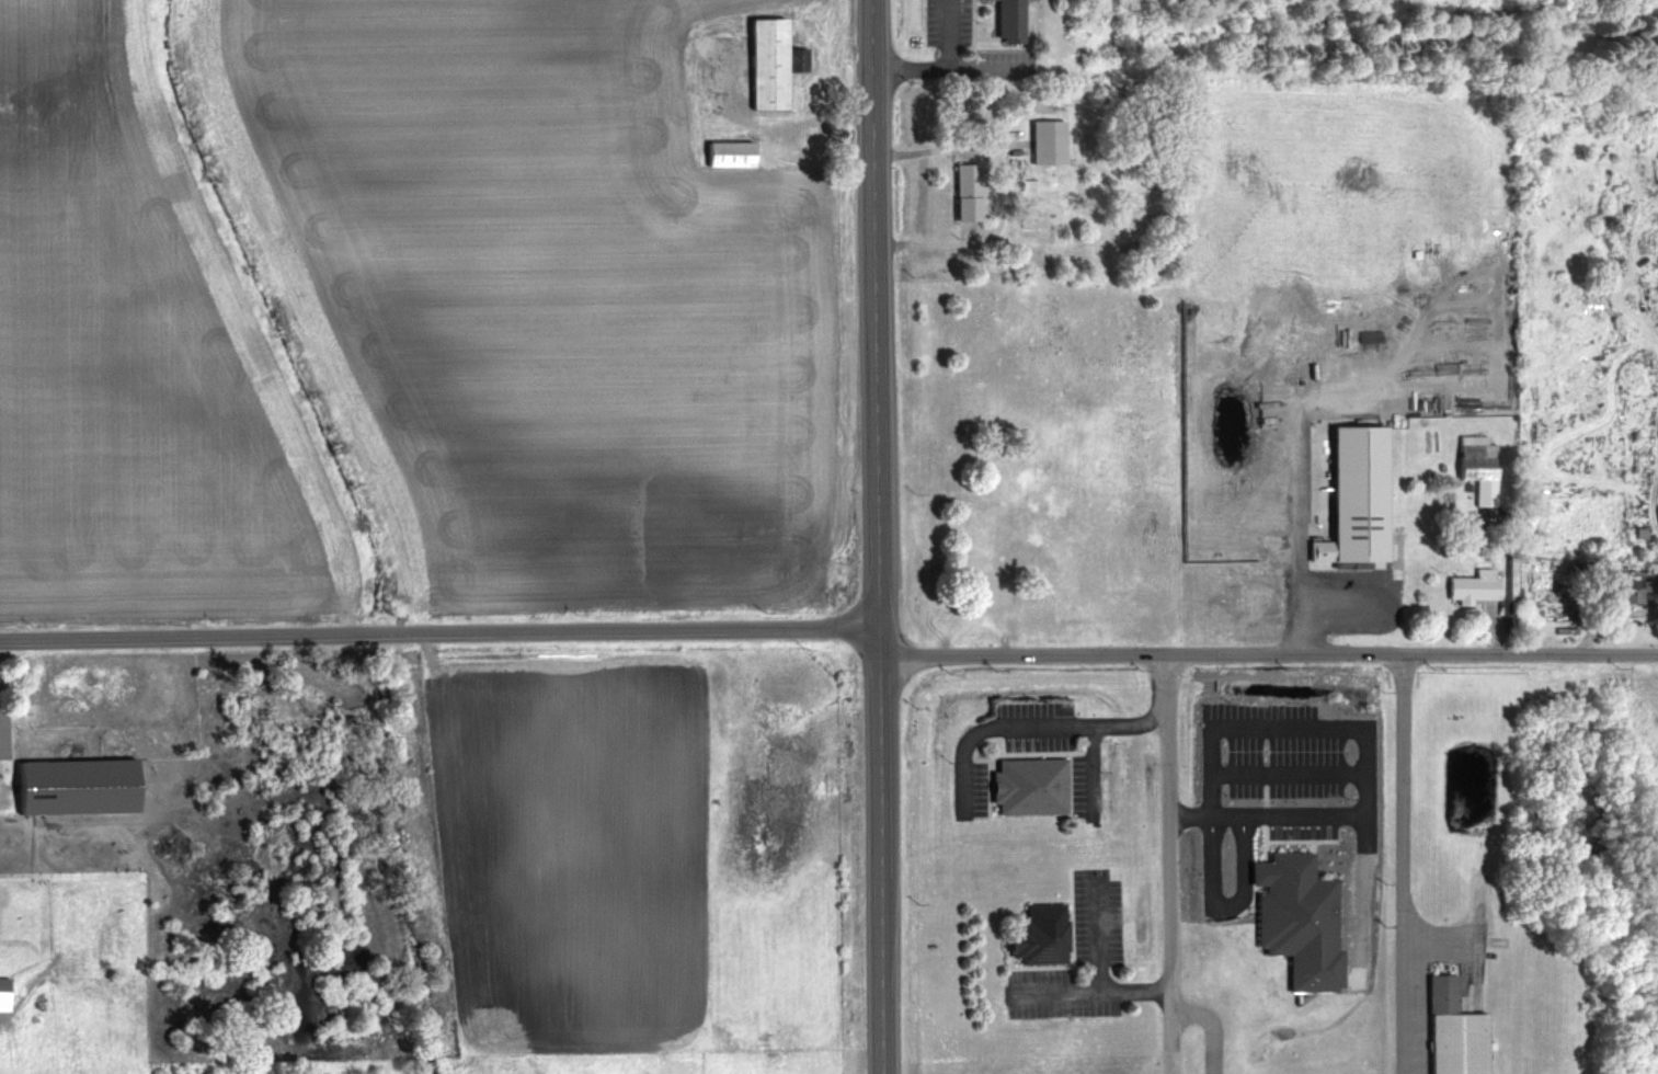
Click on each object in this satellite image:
building: (1006, 22)
road: (935, 55)
building: (774, 64)
building: (1044, 136)
road: (944, 147)
building: (739, 155)
building: (960, 193)
road: (977, 239)
road: (872, 320)
building: (1473, 466)
building: (1354, 494)
building: (1657, 516)
building: (1466, 586)
building: (1624, 586)
road: (439, 630)
road: (1265, 653)
road: (1088, 724)
road: (1346, 728)
building: (5, 733)
building: (87, 786)
building: (1027, 787)
road: (878, 857)
road: (1168, 864)
road: (1404, 864)
building: (1296, 921)
building: (1034, 935)
road: (1096, 938)
building: (7, 983)
road: (1093, 990)
road: (1210, 1026)
building: (1452, 1032)

